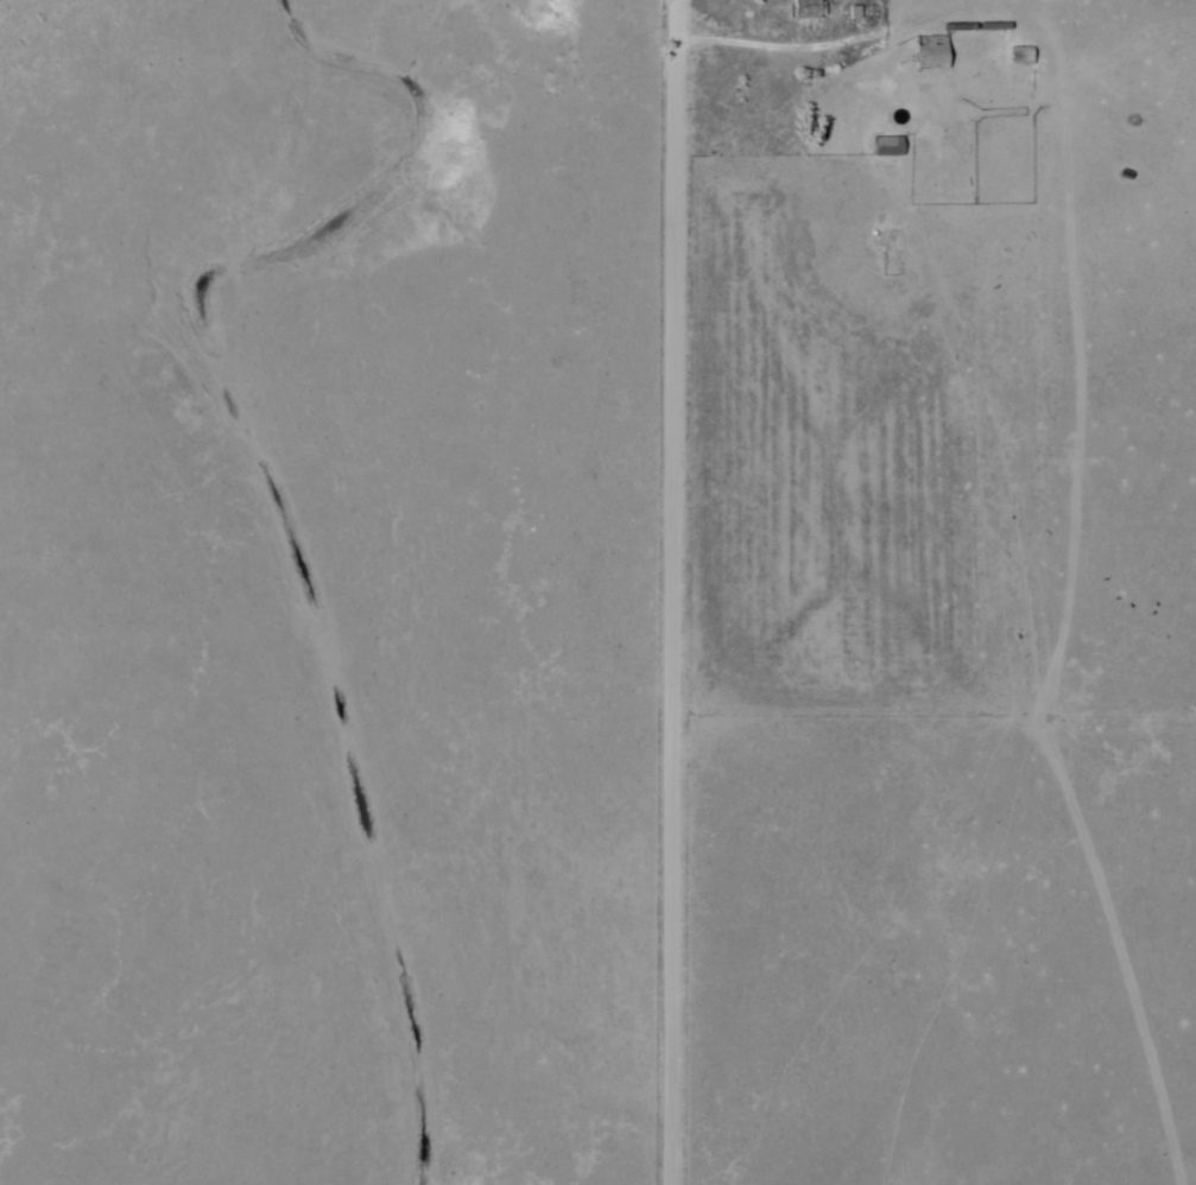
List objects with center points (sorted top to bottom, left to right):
road: (734, 592)

